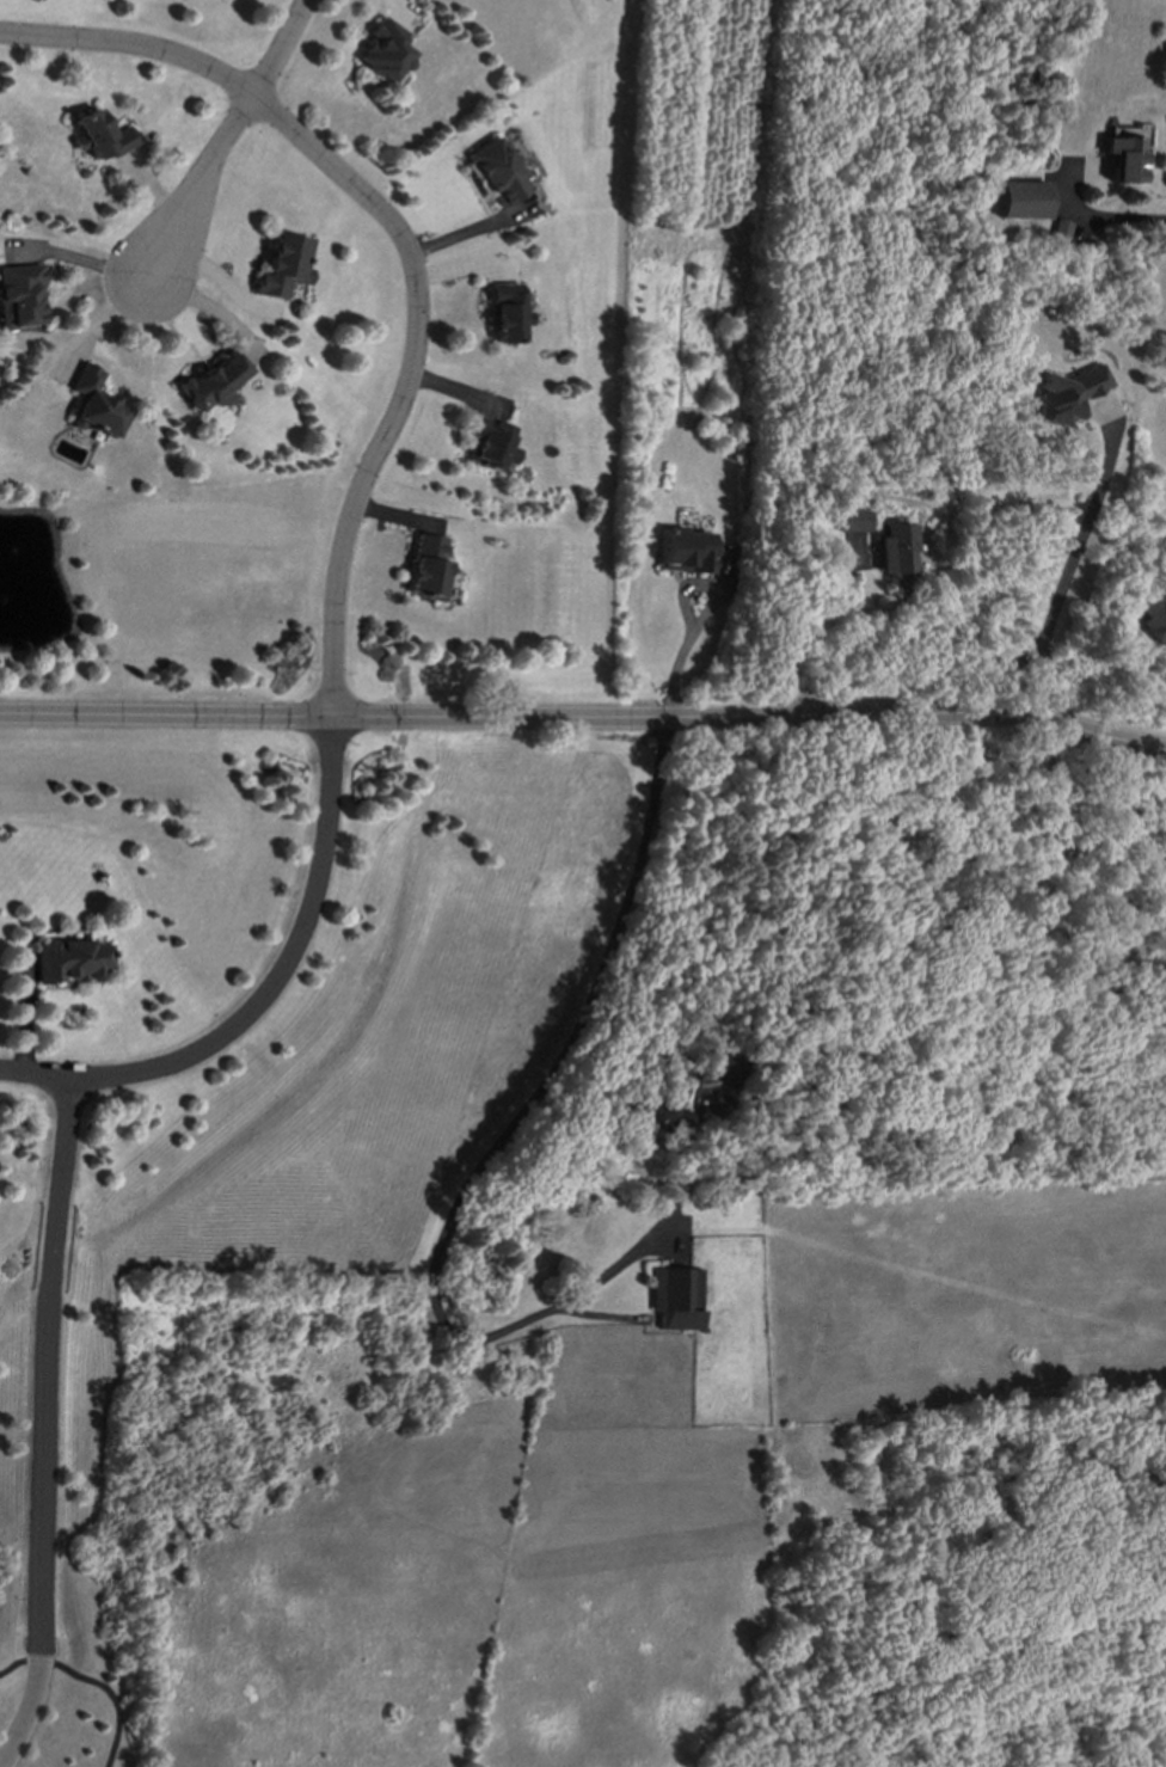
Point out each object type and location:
road: (278, 49)
building: (382, 51)
building: (98, 136)
building: (1123, 154)
building: (493, 172)
road: (196, 191)
building: (1017, 201)
road: (1101, 217)
building: (1058, 229)
road: (460, 234)
road: (400, 252)
building: (281, 266)
building: (19, 296)
building: (502, 313)
building: (213, 382)
building: (1066, 394)
building: (92, 405)
building: (486, 443)
building: (851, 520)
building: (894, 548)
building: (683, 552)
building: (424, 569)
road: (1061, 583)
road: (705, 616)
building: (1152, 616)
road: (805, 628)
road: (584, 718)
road: (584, 718)
building: (67, 961)
road: (265, 995)
park: (264, 1061)
building: (722, 1065)
building: (668, 1105)
road: (503, 1141)
building: (675, 1299)
road: (43, 1425)
road: (18, 1667)
road: (109, 1693)
park: (73, 1699)

